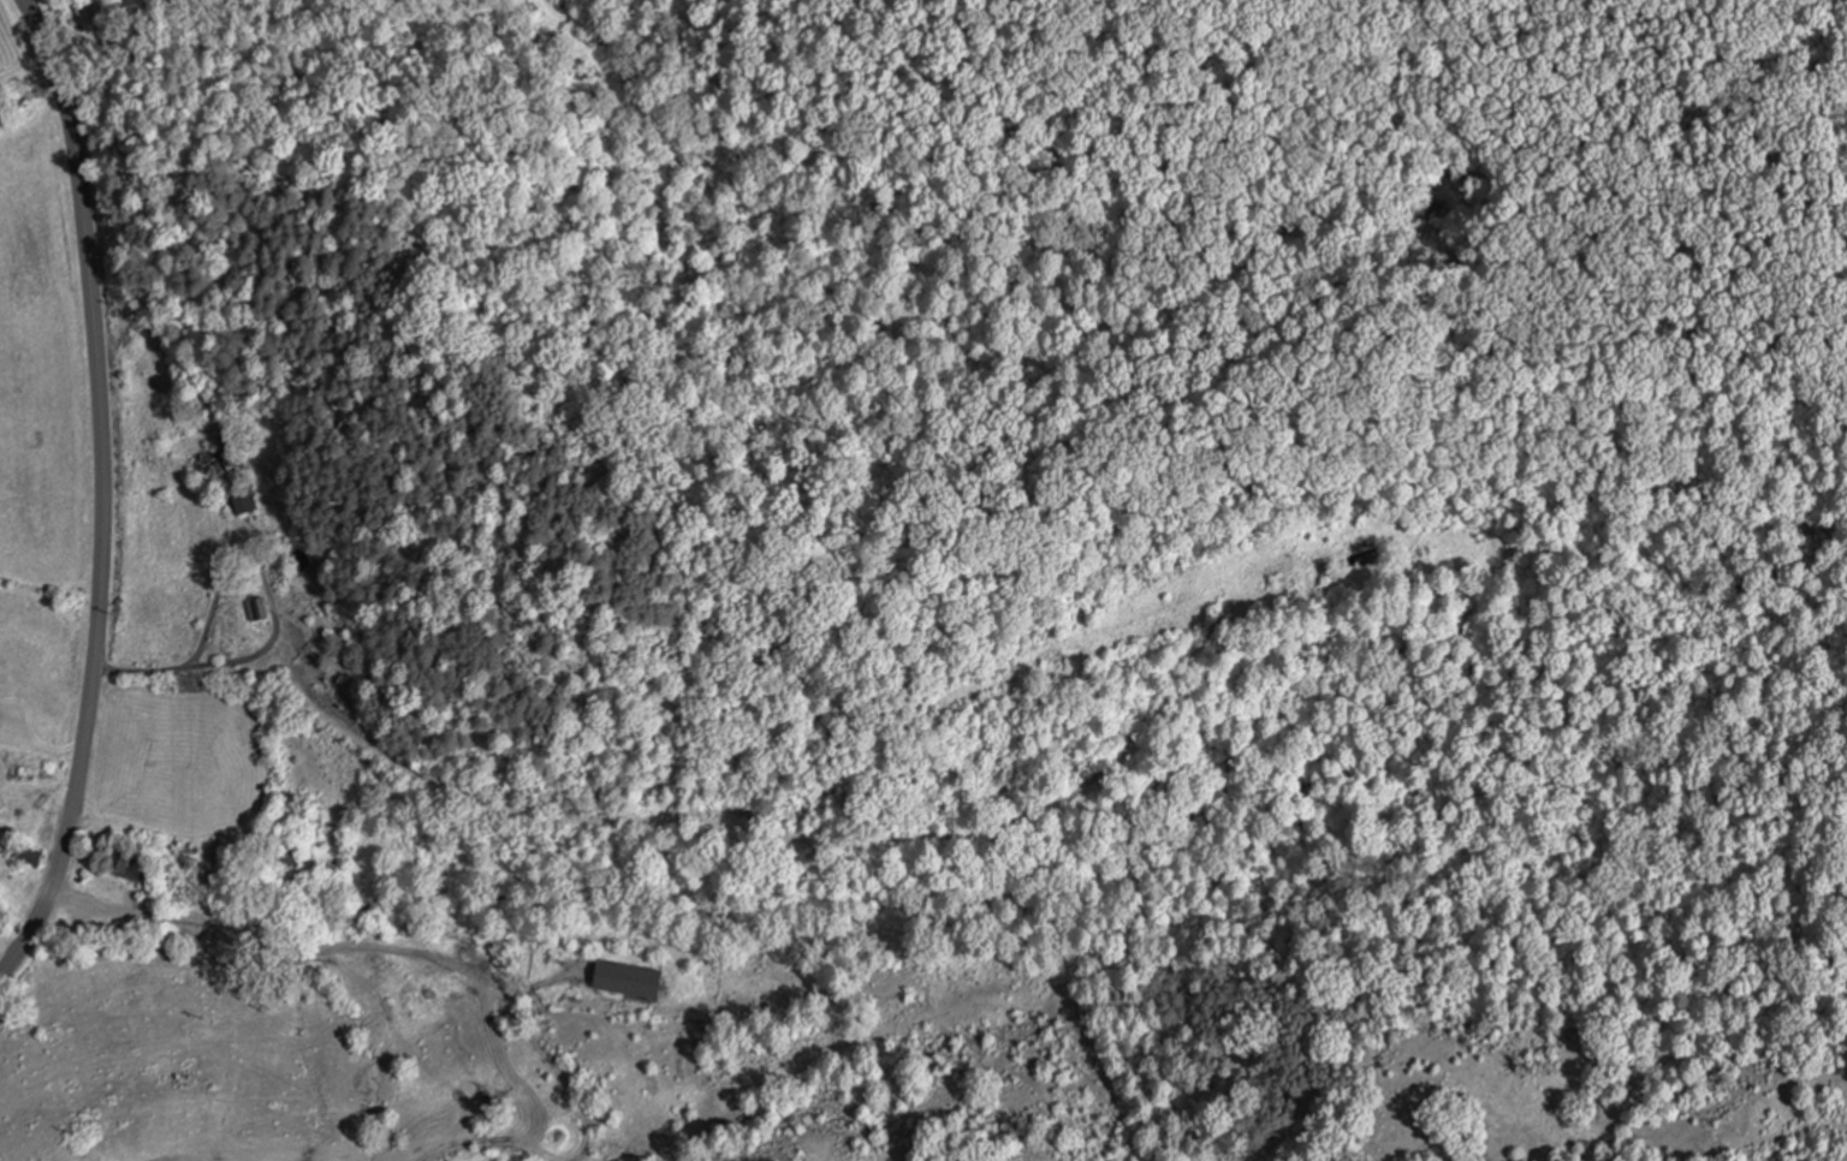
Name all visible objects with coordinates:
building: (84, 13)
building: (209, 466)
road: (101, 488)
building: (243, 502)
building: (256, 608)
building: (290, 850)
building: (131, 868)
building: (222, 945)
building: (624, 980)

